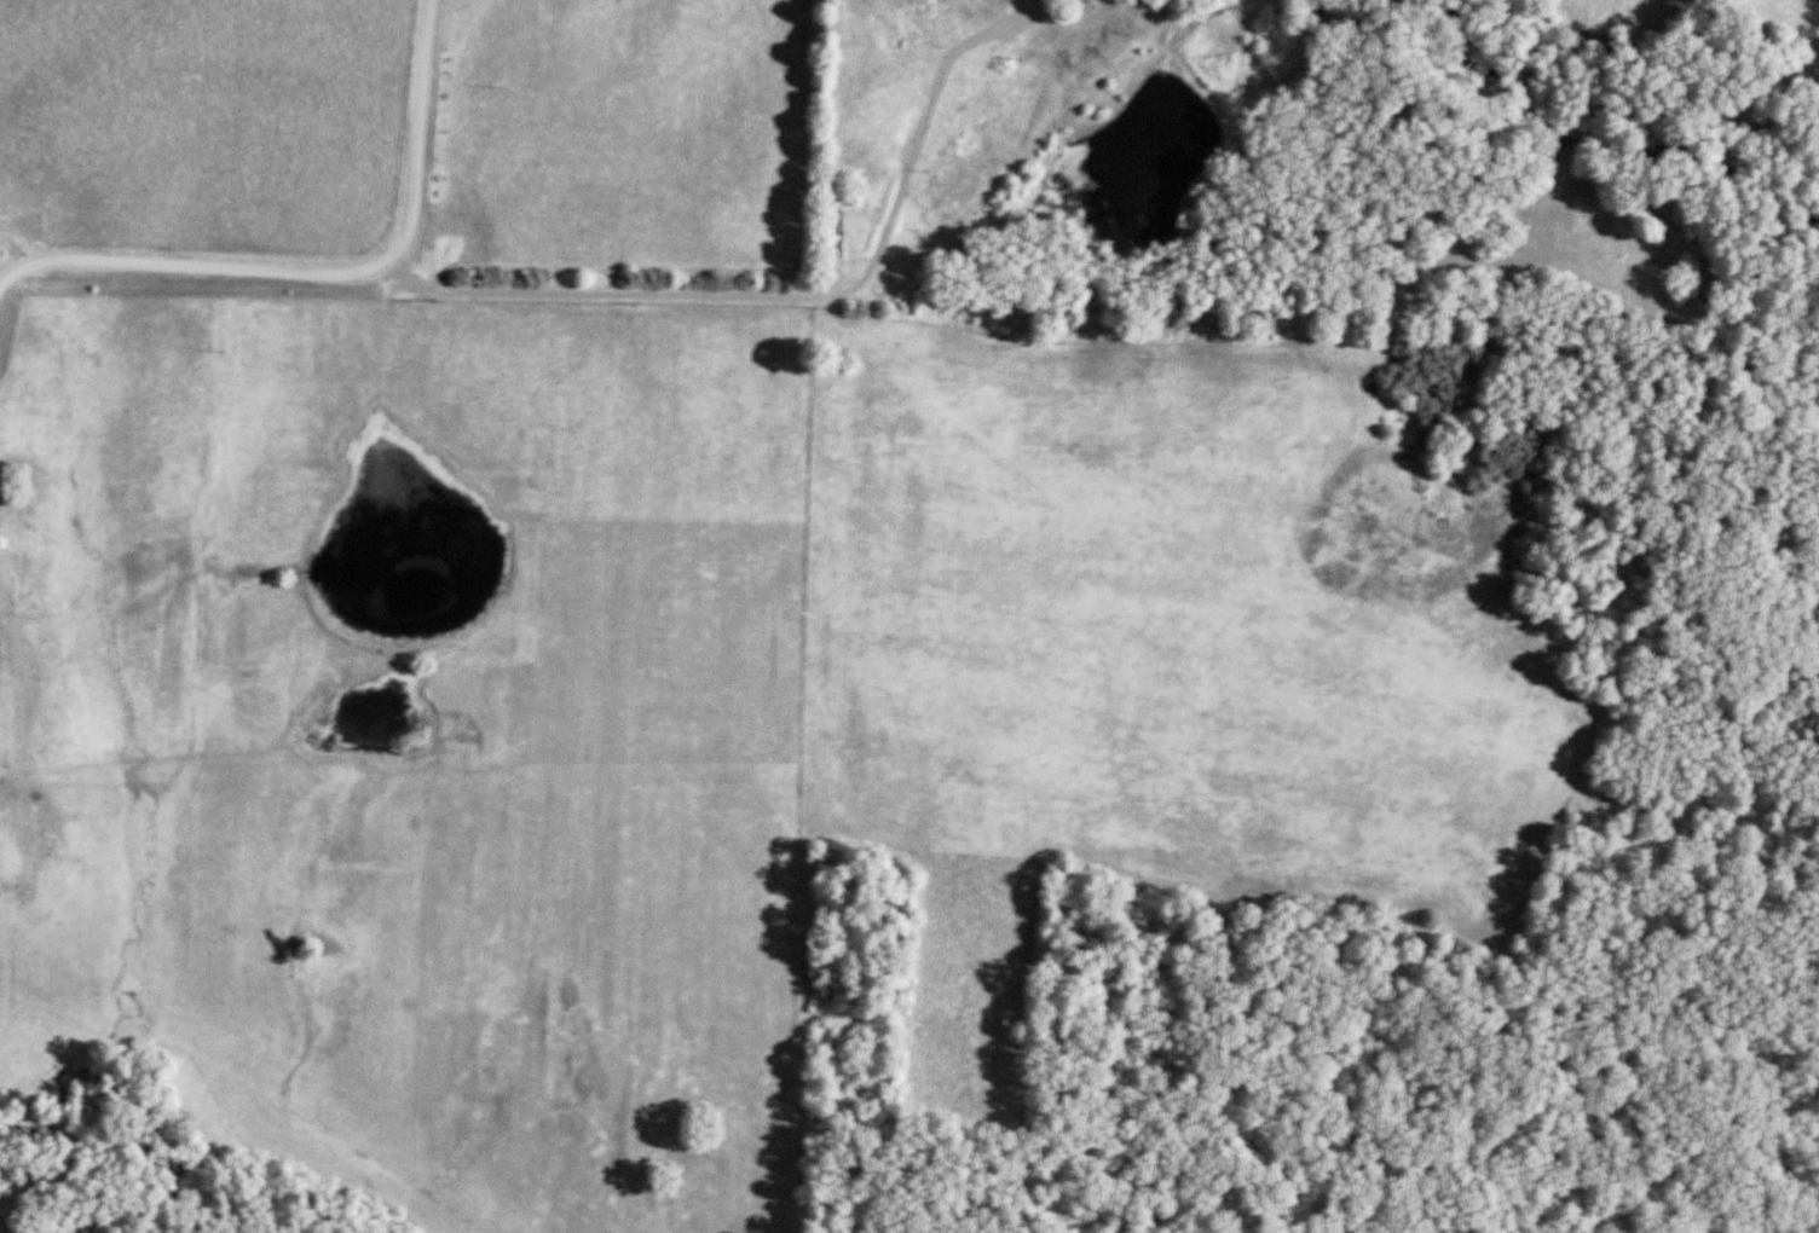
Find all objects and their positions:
road: (330, 276)

